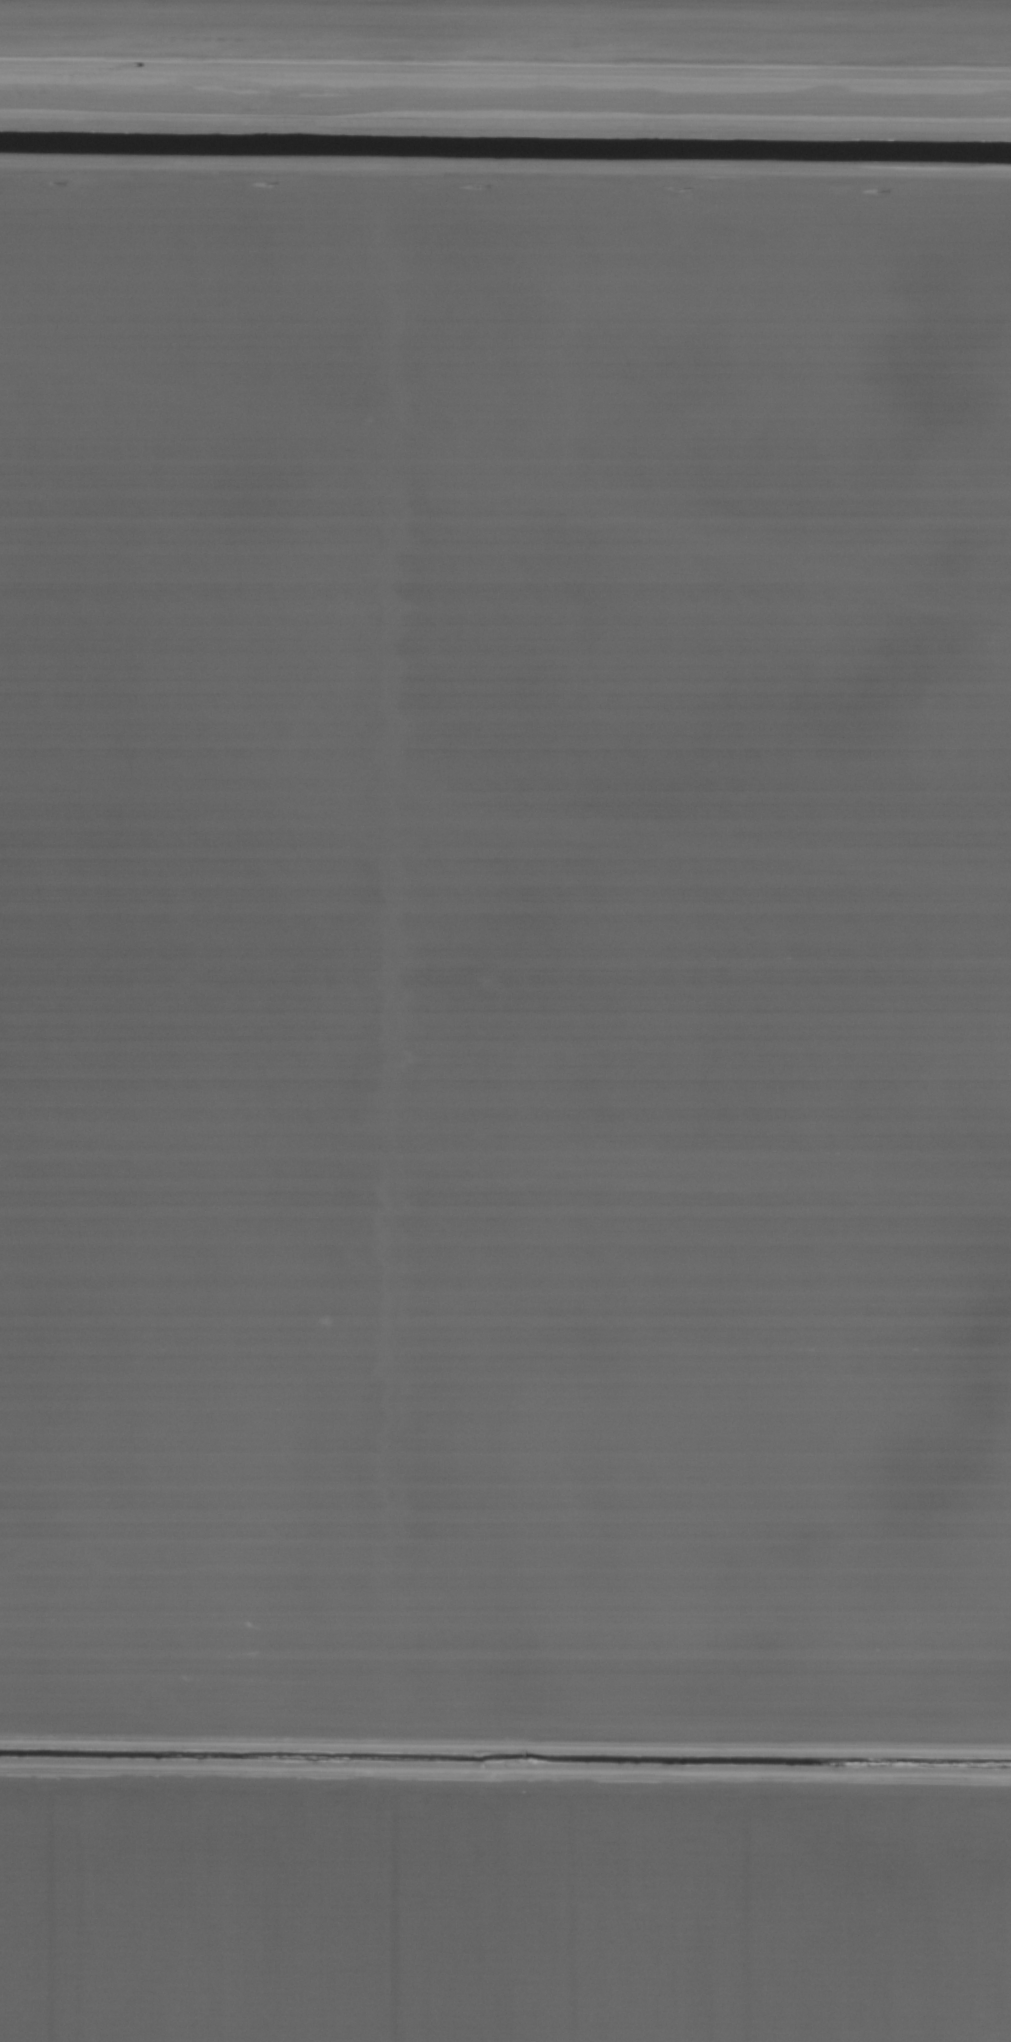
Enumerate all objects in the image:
road: (505, 62)
road: (505, 194)
crop: (505, 1021)

